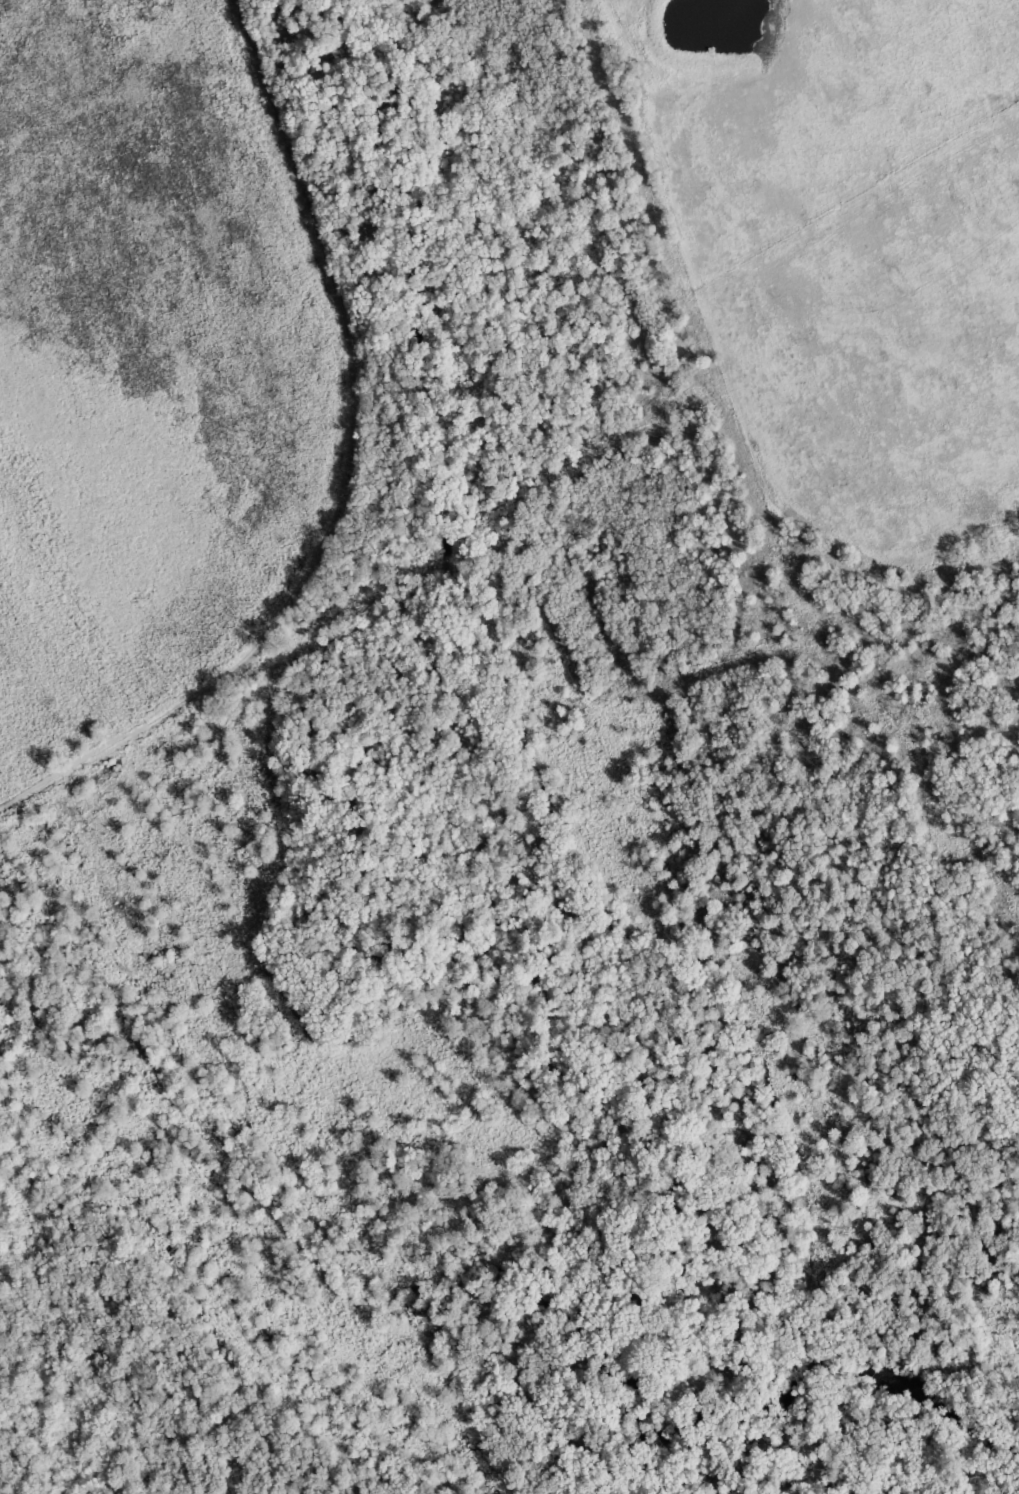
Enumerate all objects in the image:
road: (344, 474)

